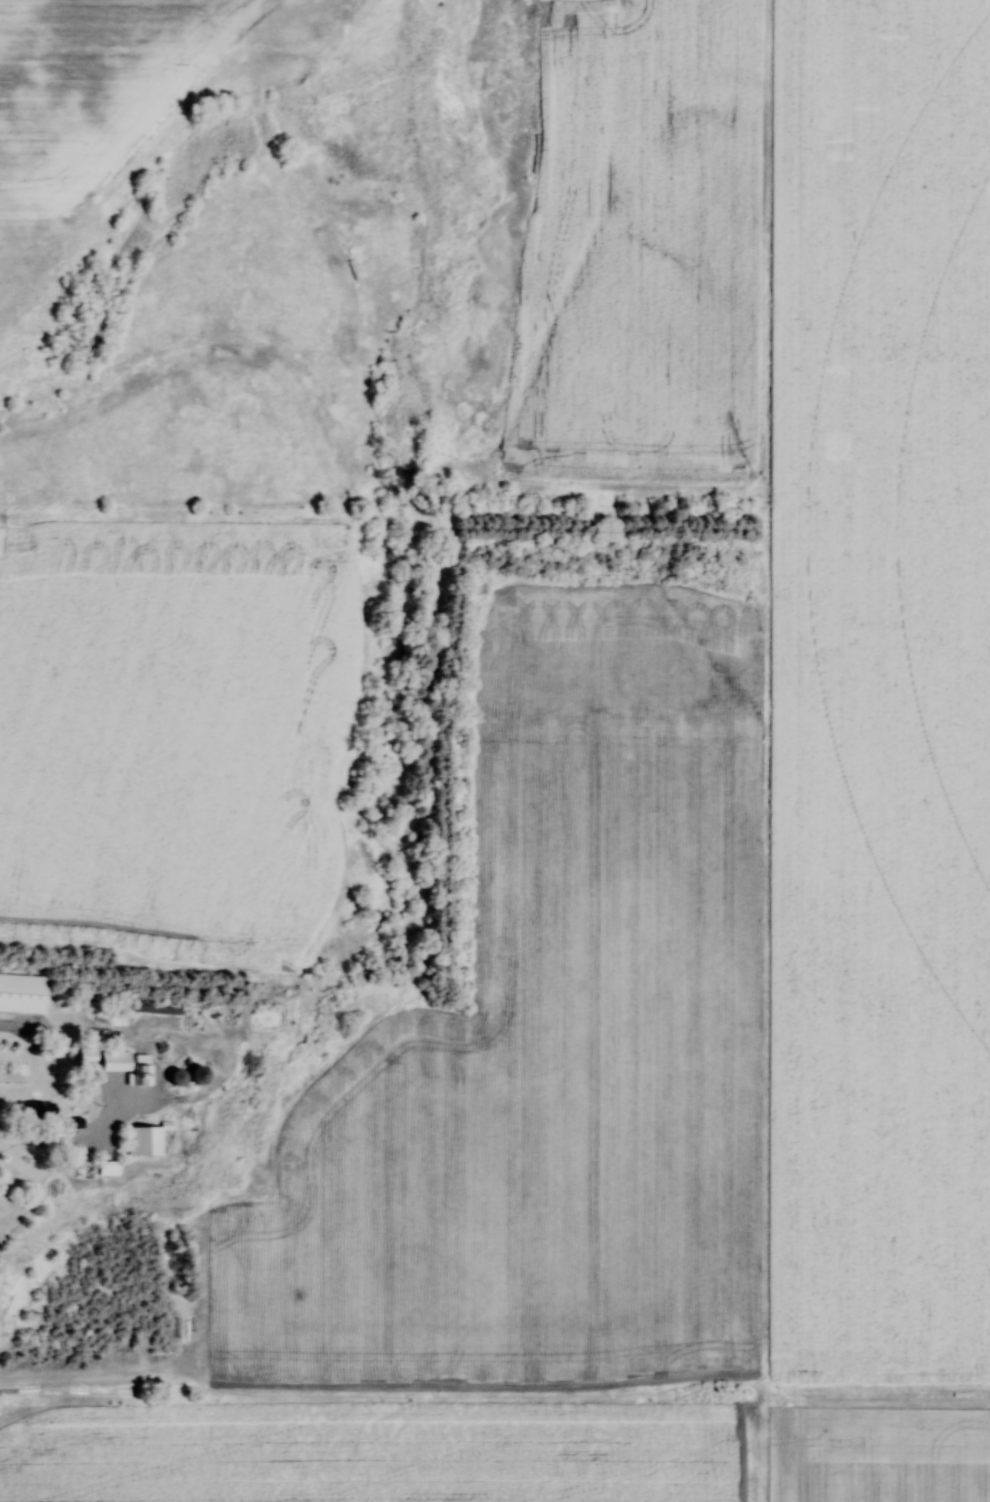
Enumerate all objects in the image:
building: (20, 993)
building: (154, 1007)
building: (124, 1067)
building: (194, 1075)
building: (35, 1111)
building: (143, 1141)
building: (107, 1168)

